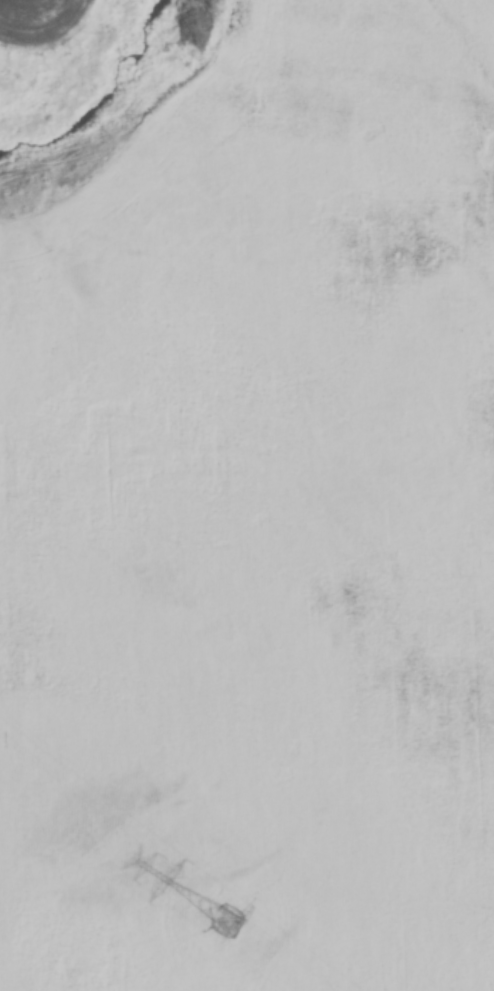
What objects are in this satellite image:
power tower: (226, 923)

